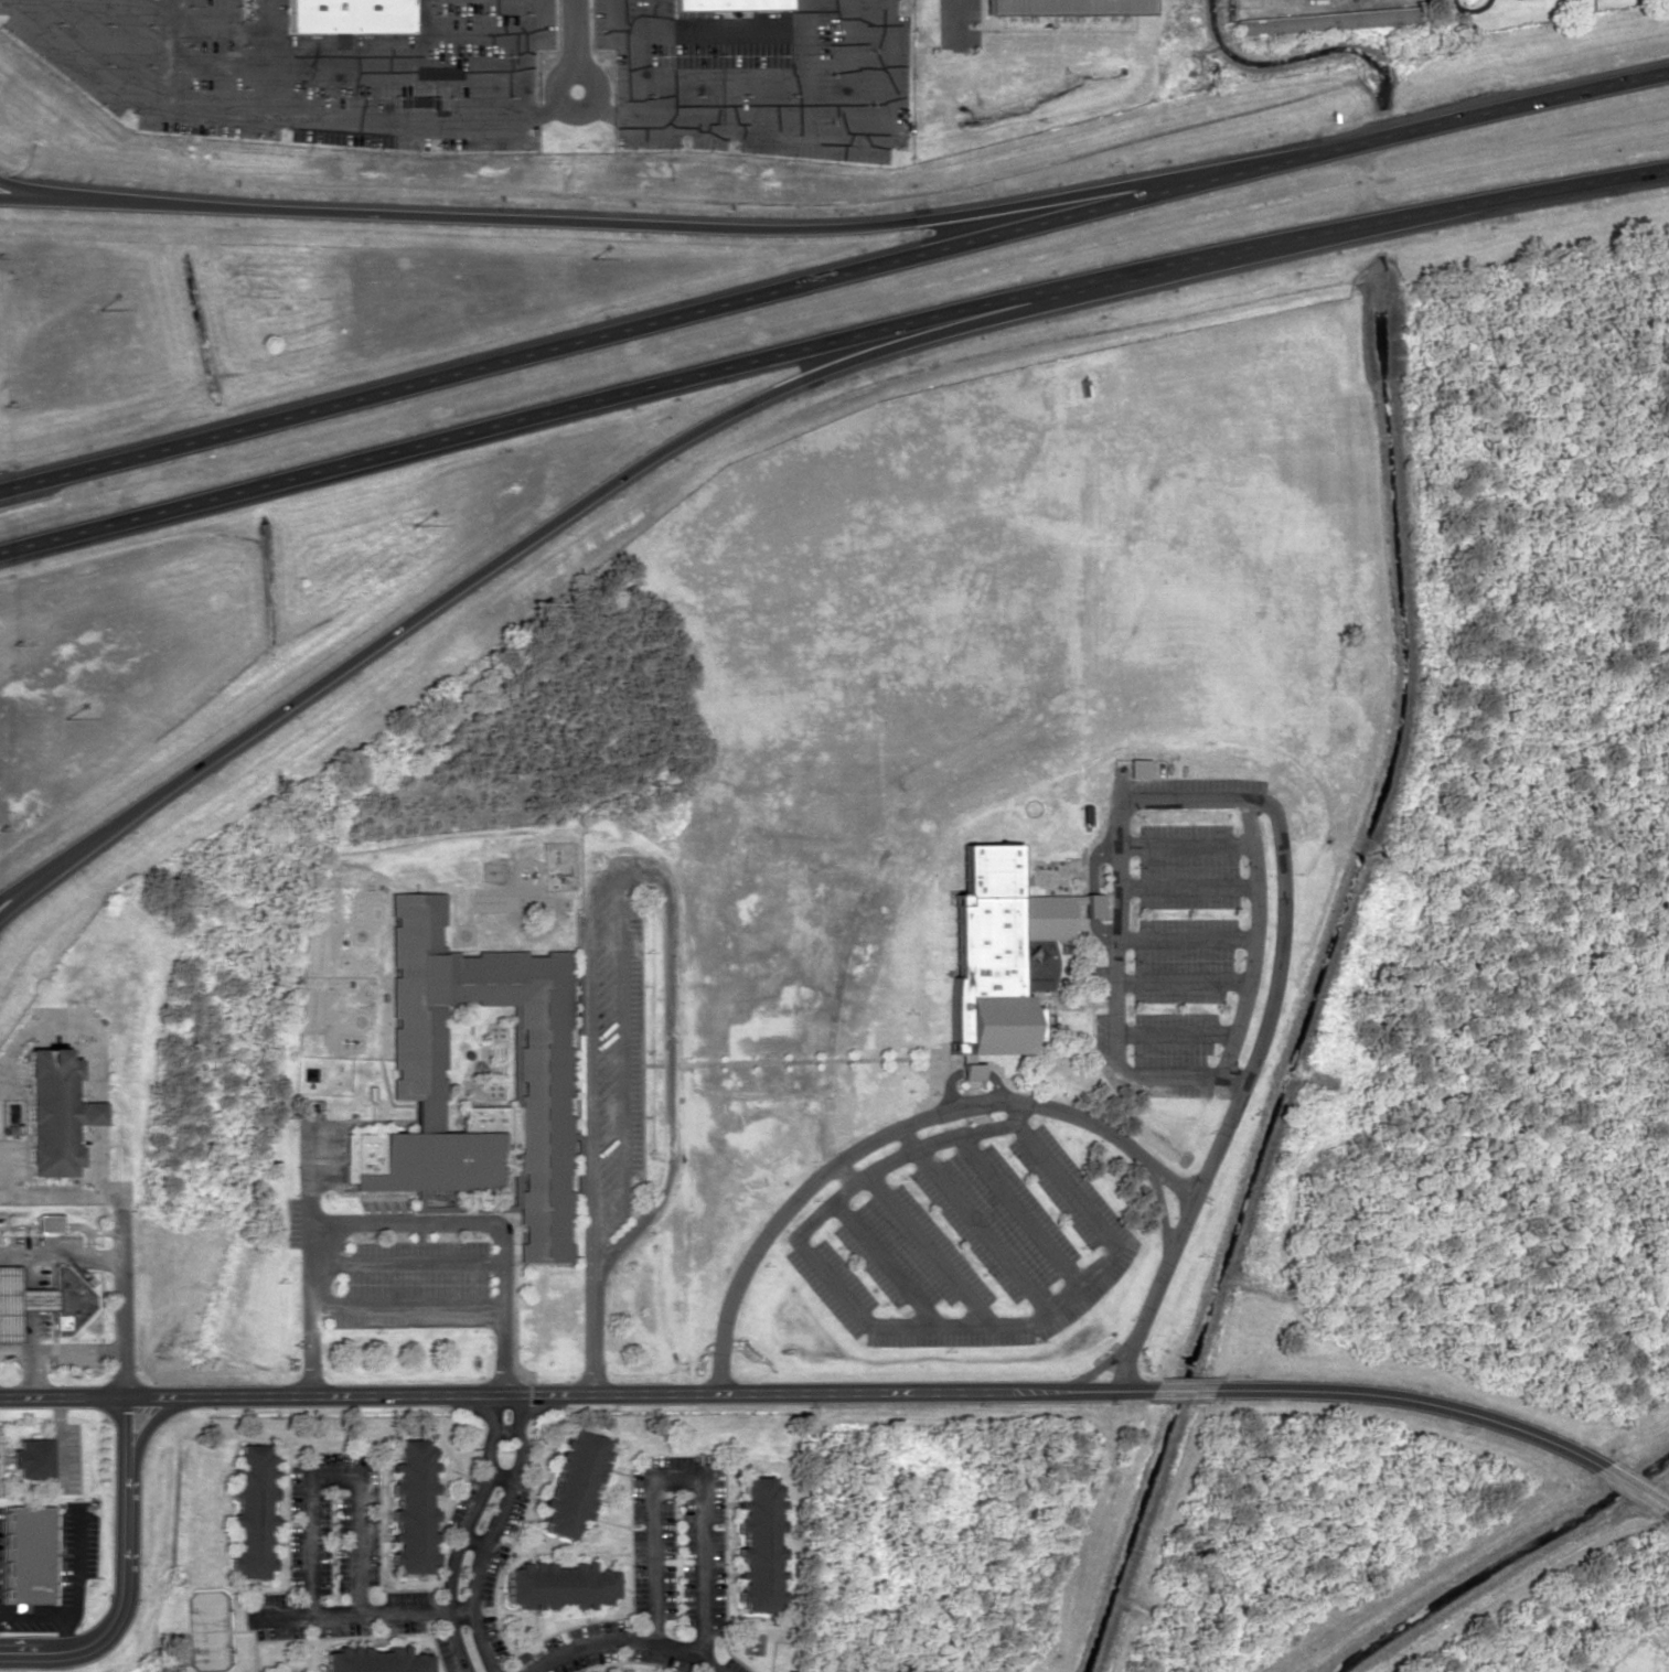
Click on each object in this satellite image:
building: (729, 4)
building: (1064, 6)
building: (347, 14)
road: (657, 15)
building: (1330, 20)
road: (959, 24)
road: (215, 26)
road: (692, 31)
road: (496, 34)
road: (426, 37)
road: (110, 44)
road: (575, 45)
road: (167, 51)
road: (265, 55)
road: (804, 65)
road: (215, 66)
parking lot: (489, 72)
road: (634, 76)
road: (393, 77)
road: (522, 78)
road: (200, 105)
road: (605, 106)
road: (828, 132)
road: (29, 192)
road: (619, 224)
road: (833, 272)
road: (830, 339)
road: (542, 528)
road: (642, 860)
road: (25, 887)
building: (1001, 947)
road: (620, 1054)
building: (970, 1071)
building: (544, 1084)
building: (54, 1112)
road: (67, 1190)
building: (47, 1222)
road: (60, 1258)
building: (42, 1300)
road: (120, 1300)
road: (592, 1338)
road: (13, 1347)
road: (74, 1347)
road: (26, 1371)
road: (1184, 1389)
road: (576, 1394)
road: (1412, 1400)
road: (147, 1422)
building: (30, 1457)
road: (329, 1476)
road: (678, 1476)
building: (573, 1481)
road: (1633, 1489)
building: (413, 1505)
road: (1668, 1511)
building: (252, 1512)
road: (470, 1533)
building: (756, 1544)
road: (125, 1569)
building: (557, 1585)
road: (352, 1615)
park: (202, 1630)
road: (619, 1641)
road: (8, 1649)
building: (374, 1660)
building: (297, 1671)

